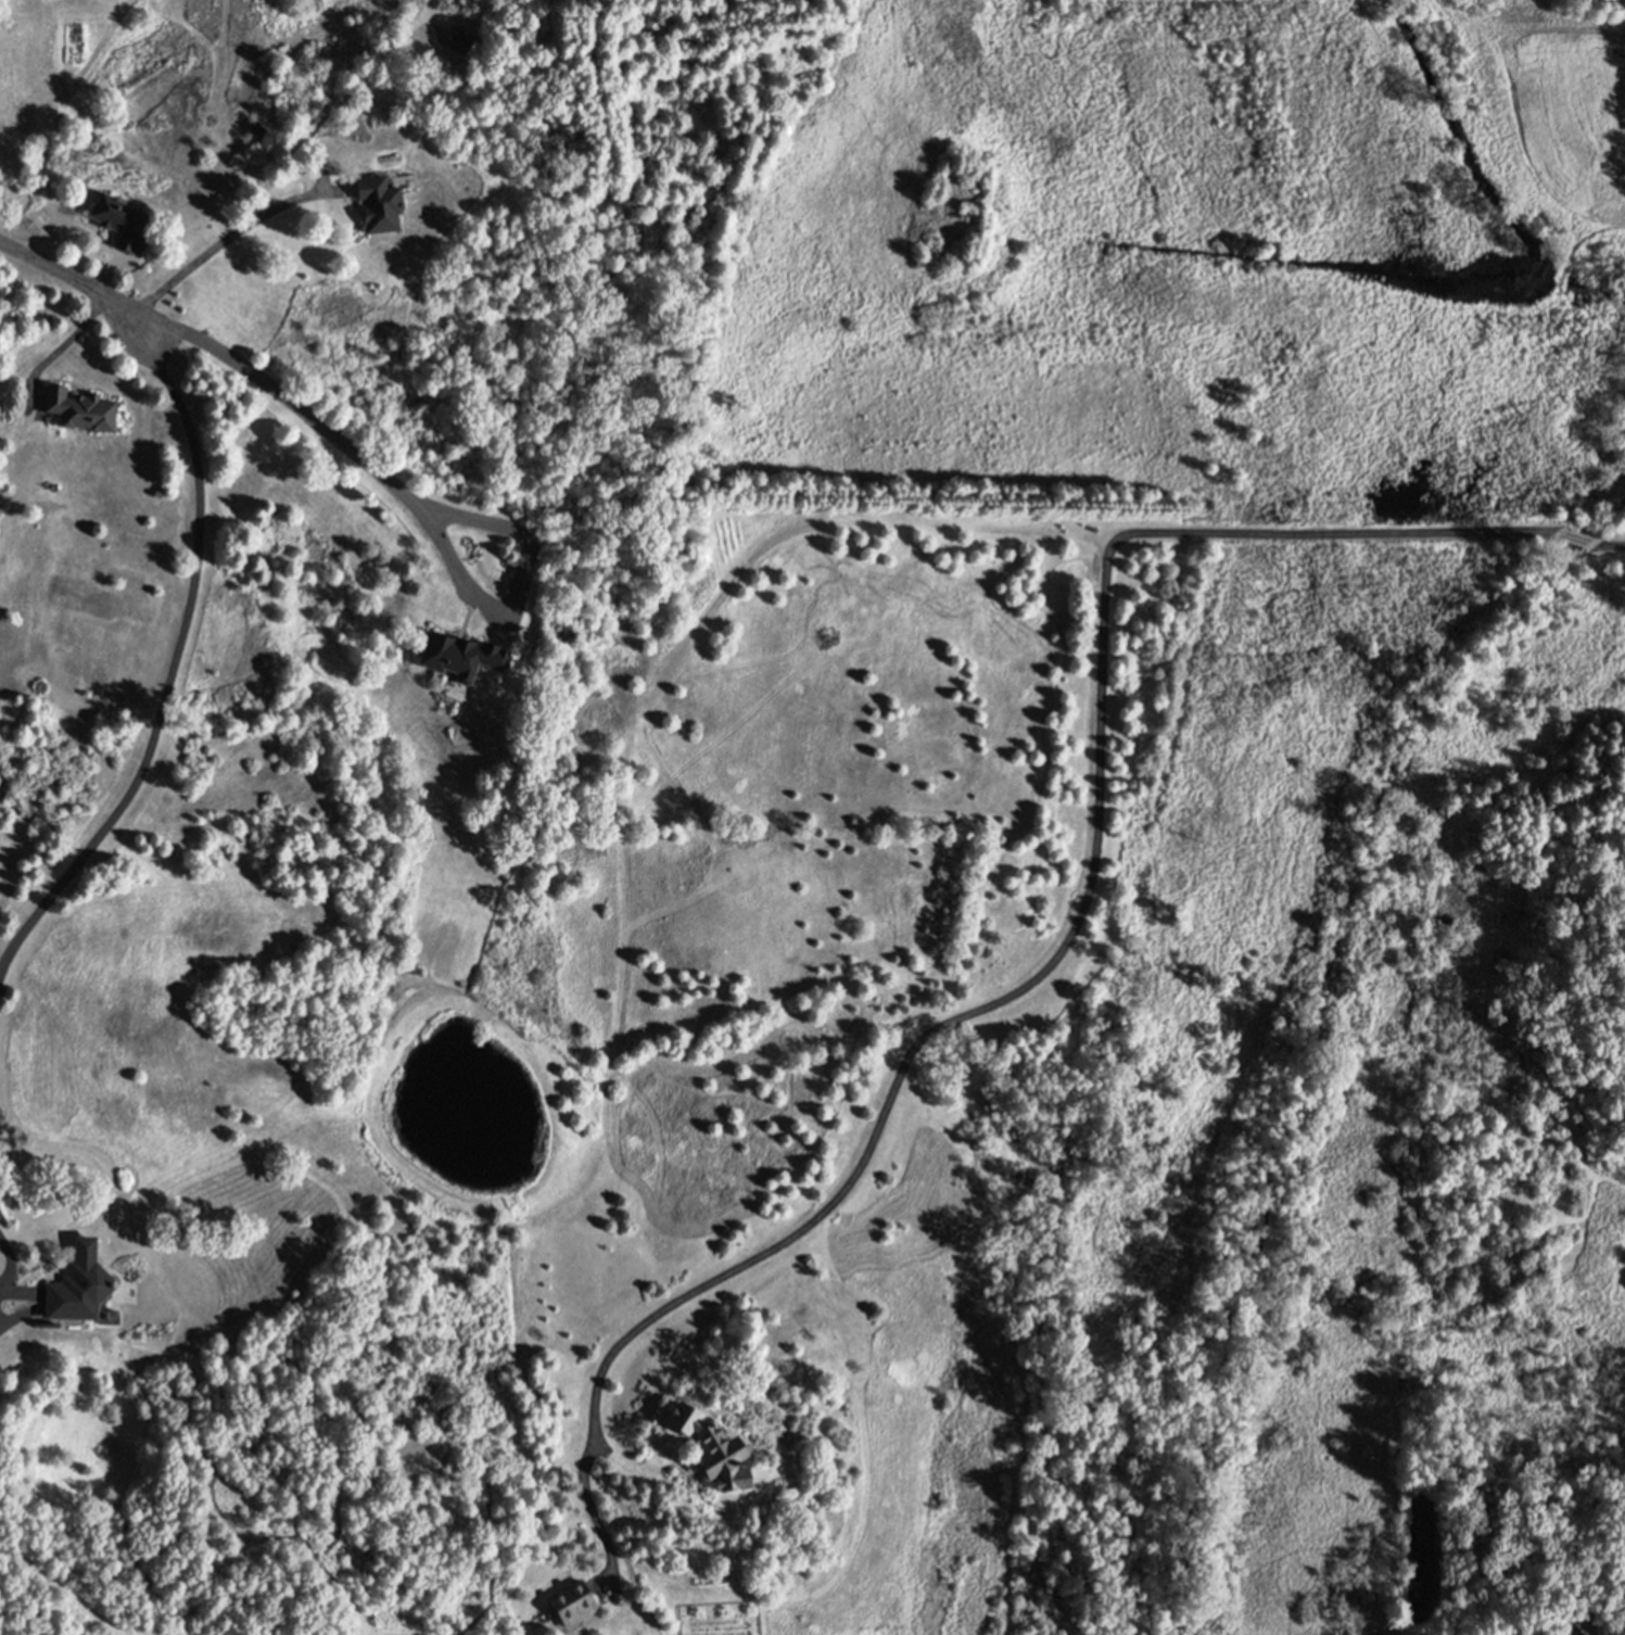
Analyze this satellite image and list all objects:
building: (460, 41)
building: (257, 129)
road: (309, 183)
building: (378, 202)
building: (120, 220)
road: (67, 277)
road: (59, 347)
building: (79, 408)
road: (329, 432)
road: (1577, 540)
road: (1611, 545)
road: (169, 650)
building: (458, 655)
road: (1067, 942)
building: (77, 1291)
building: (711, 1447)
building: (572, 1604)

